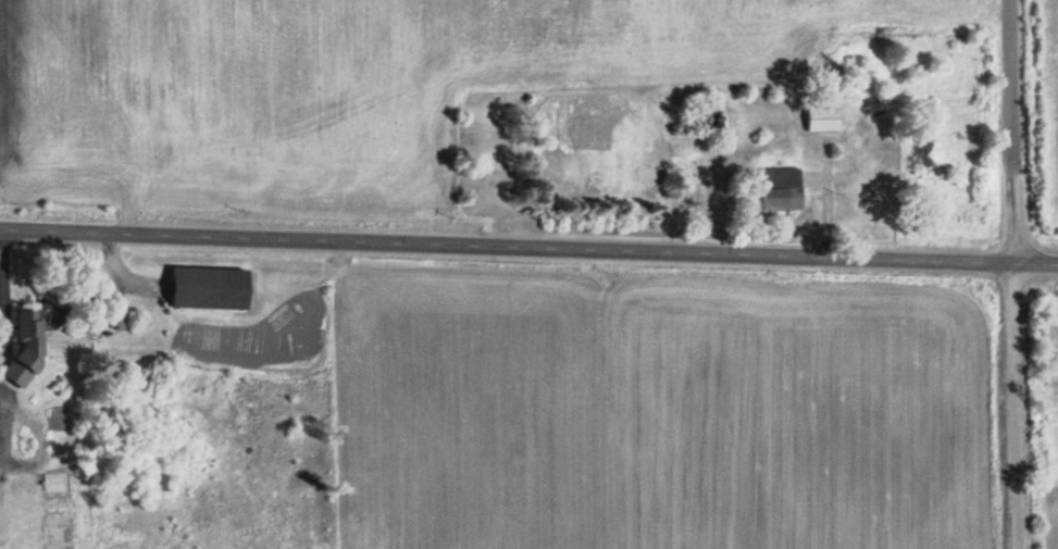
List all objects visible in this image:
building: (823, 117)
building: (783, 190)
road: (528, 246)
road: (1013, 274)
building: (214, 288)
building: (32, 346)
building: (66, 509)

